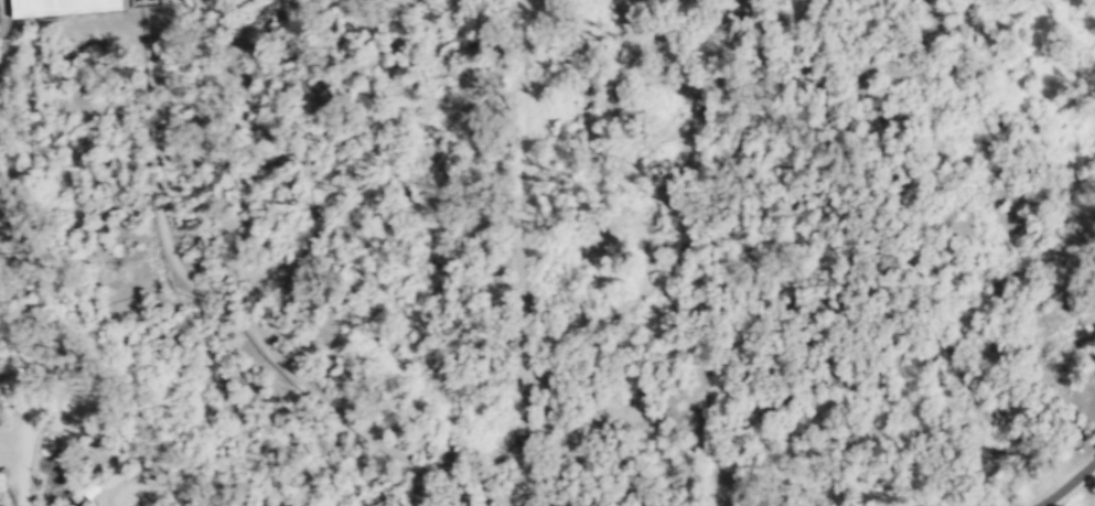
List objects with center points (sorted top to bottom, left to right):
building: (143, 2)
building: (61, 7)
road: (1, 13)
road: (4, 165)
road: (522, 252)
park: (547, 252)
road: (89, 301)
road: (228, 309)
building: (7, 377)
road: (22, 472)
road: (1067, 485)
building: (92, 486)

